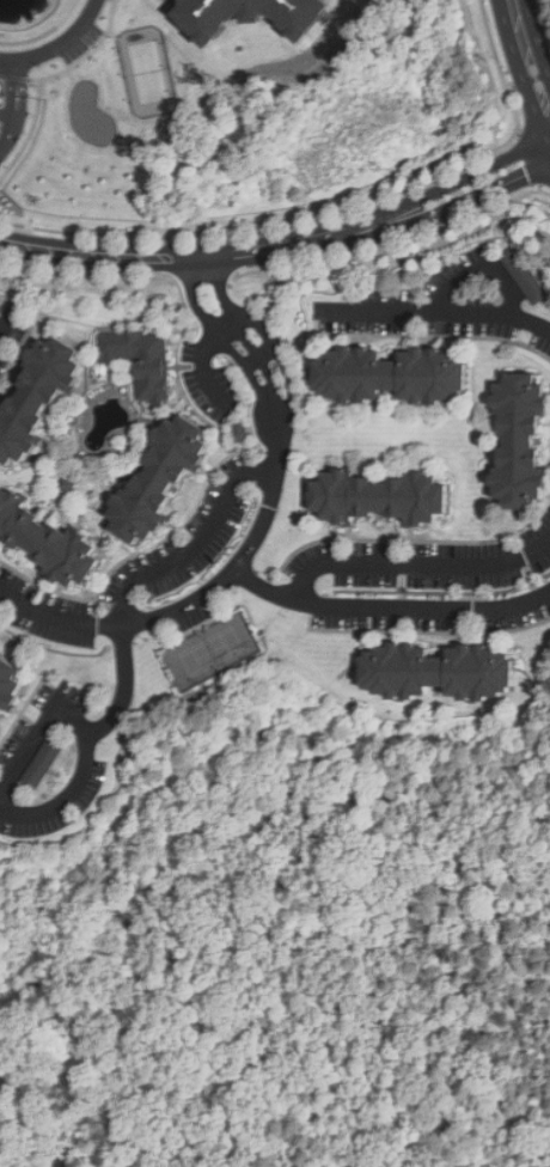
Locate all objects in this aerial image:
building: (247, 16)
road: (60, 43)
road: (531, 53)
road: (2, 59)
road: (6, 75)
road: (1, 100)
road: (282, 246)
road: (483, 268)
building: (524, 275)
road: (219, 289)
road: (197, 299)
building: (0, 305)
building: (1, 310)
road: (440, 310)
road: (261, 324)
road: (243, 340)
road: (232, 348)
road: (268, 349)
road: (203, 354)
building: (140, 359)
road: (252, 359)
building: (390, 374)
road: (292, 387)
road: (275, 391)
building: (36, 396)
road: (263, 397)
building: (242, 432)
building: (518, 438)
building: (158, 479)
building: (378, 495)
building: (45, 540)
road: (196, 540)
road: (417, 563)
road: (191, 601)
road: (386, 605)
park: (210, 652)
building: (439, 671)
building: (10, 684)
building: (42, 764)
road: (53, 804)

